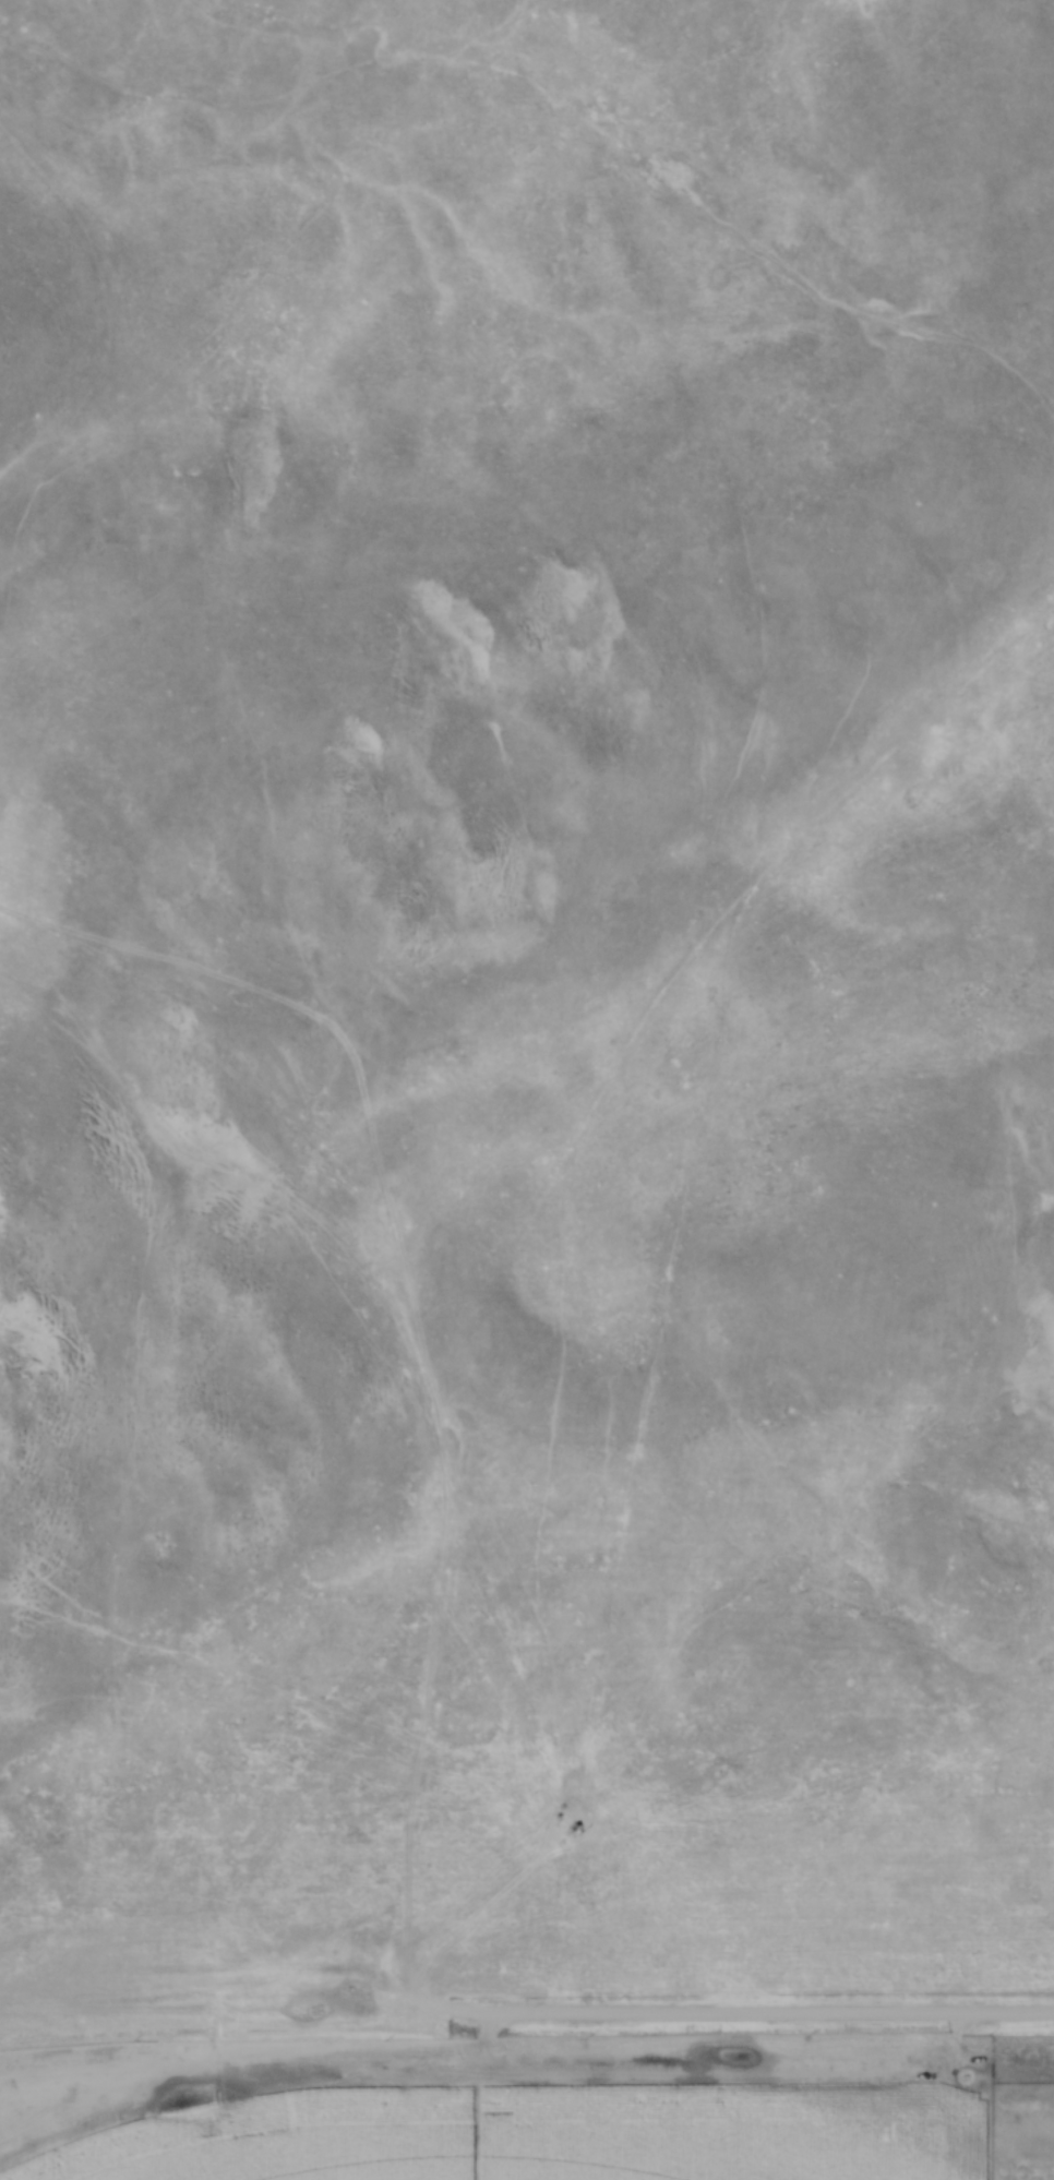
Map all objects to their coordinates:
road: (526, 2010)

